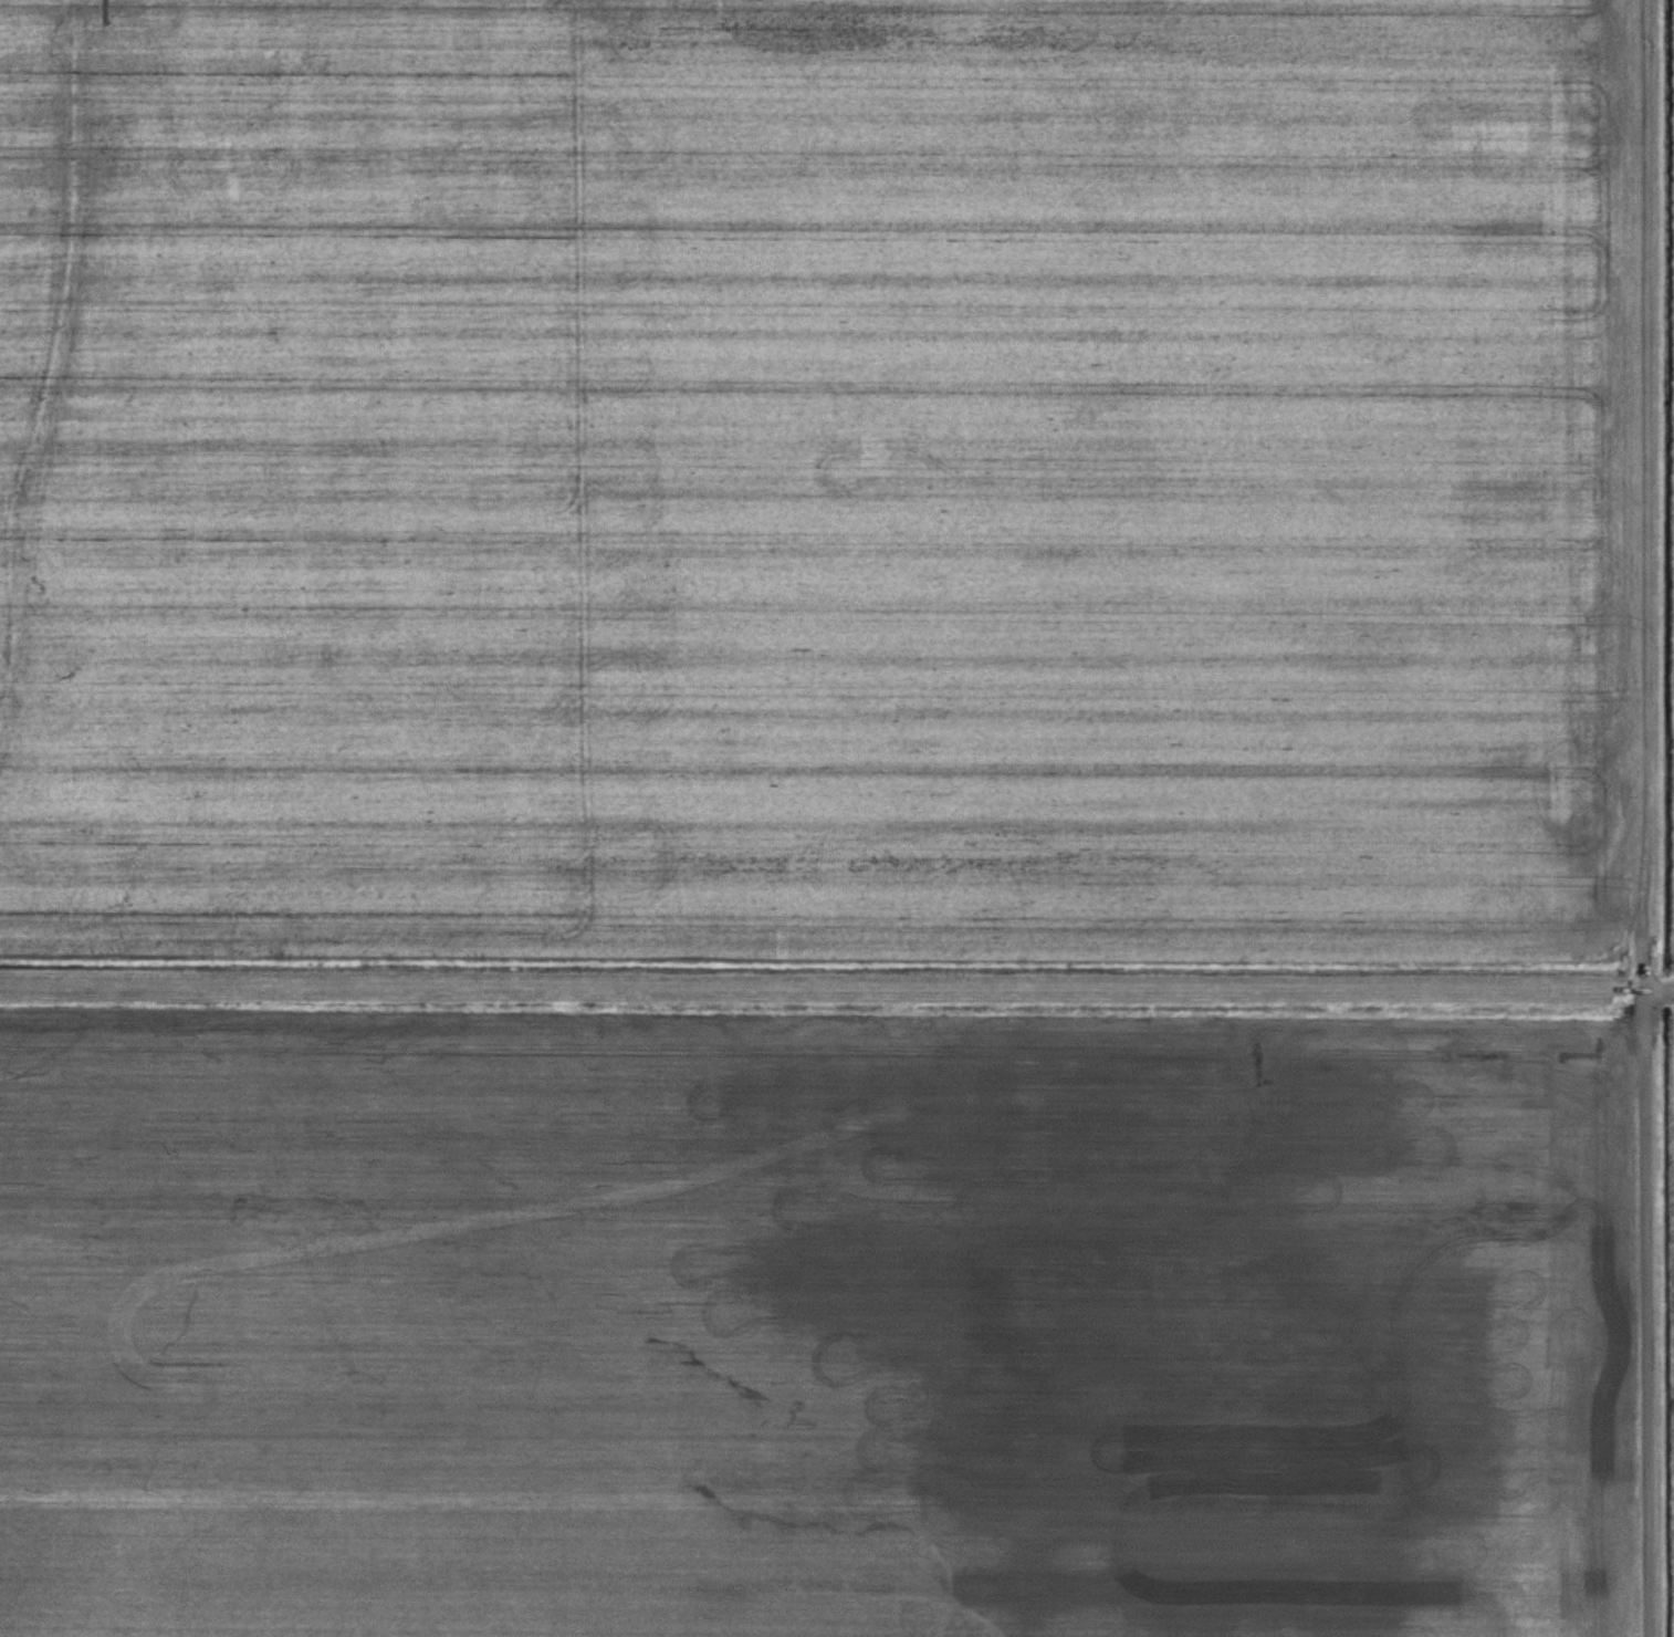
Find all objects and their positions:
crop: (813, 476)
road: (1644, 818)
road: (1662, 991)
crop: (816, 1323)

